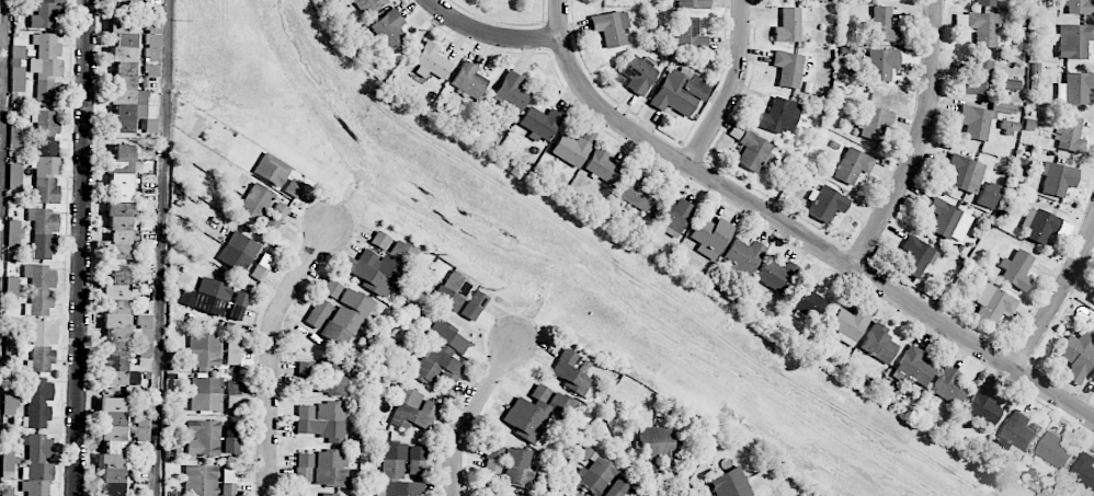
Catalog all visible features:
building: (984, 2)
building: (124, 3)
building: (693, 3)
building: (368, 5)
building: (1078, 7)
building: (46, 14)
road: (558, 18)
street lamp: (540, 21)
building: (788, 25)
building: (884, 25)
building: (611, 27)
building: (388, 28)
building: (984, 28)
road: (489, 34)
building: (690, 35)
building: (153, 41)
building: (1074, 41)
building: (431, 62)
building: (881, 64)
building: (45, 67)
building: (787, 69)
building: (638, 74)
building: (16, 77)
building: (124, 79)
building: (979, 79)
building: (469, 80)
road: (732, 88)
building: (1074, 88)
building: (512, 92)
building: (679, 92)
building: (778, 116)
building: (980, 119)
building: (540, 124)
building: (874, 124)
road: (3, 127)
building: (1008, 127)
building: (45, 131)
building: (15, 135)
building: (1069, 136)
road: (919, 141)
building: (570, 150)
building: (754, 152)
street lamp: (707, 162)
building: (853, 165)
building: (601, 166)
building: (272, 170)
building: (119, 172)
building: (964, 173)
building: (14, 176)
building: (1057, 178)
building: (46, 180)
building: (293, 188)
building: (987, 195)
building: (255, 203)
building: (825, 204)
building: (672, 215)
building: (275, 217)
building: (948, 220)
building: (1038, 226)
building: (117, 231)
building: (43, 232)
building: (14, 233)
building: (709, 237)
road: (811, 242)
road: (86, 247)
road: (161, 247)
building: (238, 252)
building: (743, 255)
building: (915, 256)
street lamp: (870, 262)
building: (380, 265)
building: (1016, 269)
building: (259, 273)
building: (776, 276)
building: (12, 289)
building: (39, 289)
building: (332, 289)
building: (452, 291)
building: (208, 297)
building: (806, 298)
building: (1092, 298)
road: (1056, 299)
building: (994, 304)
building: (474, 305)
building: (237, 312)
building: (318, 313)
building: (346, 319)
building: (144, 321)
building: (848, 325)
building: (118, 332)
building: (878, 343)
building: (42, 344)
building: (10, 345)
building: (145, 350)
road: (272, 350)
building: (203, 351)
building: (232, 351)
building: (441, 354)
building: (1078, 355)
building: (912, 368)
building: (570, 373)
building: (1092, 376)
building: (322, 377)
building: (948, 385)
building: (235, 389)
building: (206, 394)
building: (10, 402)
building: (37, 403)
building: (982, 407)
building: (412, 408)
road: (474, 413)
building: (533, 413)
building: (322, 420)
building: (143, 427)
building: (1017, 431)
building: (203, 438)
building: (231, 439)
building: (659, 443)
building: (112, 446)
building: (1056, 450)
building: (417, 452)
building: (492, 460)
building: (9, 461)
building: (37, 466)
building: (304, 468)
building: (417, 468)
building: (517, 468)
building: (330, 469)
building: (1084, 471)
building: (397, 472)
building: (595, 474)
building: (201, 481)
building: (730, 484)
building: (617, 487)
building: (228, 489)
building: (7, 492)
building: (702, 492)
building: (326, 495)

